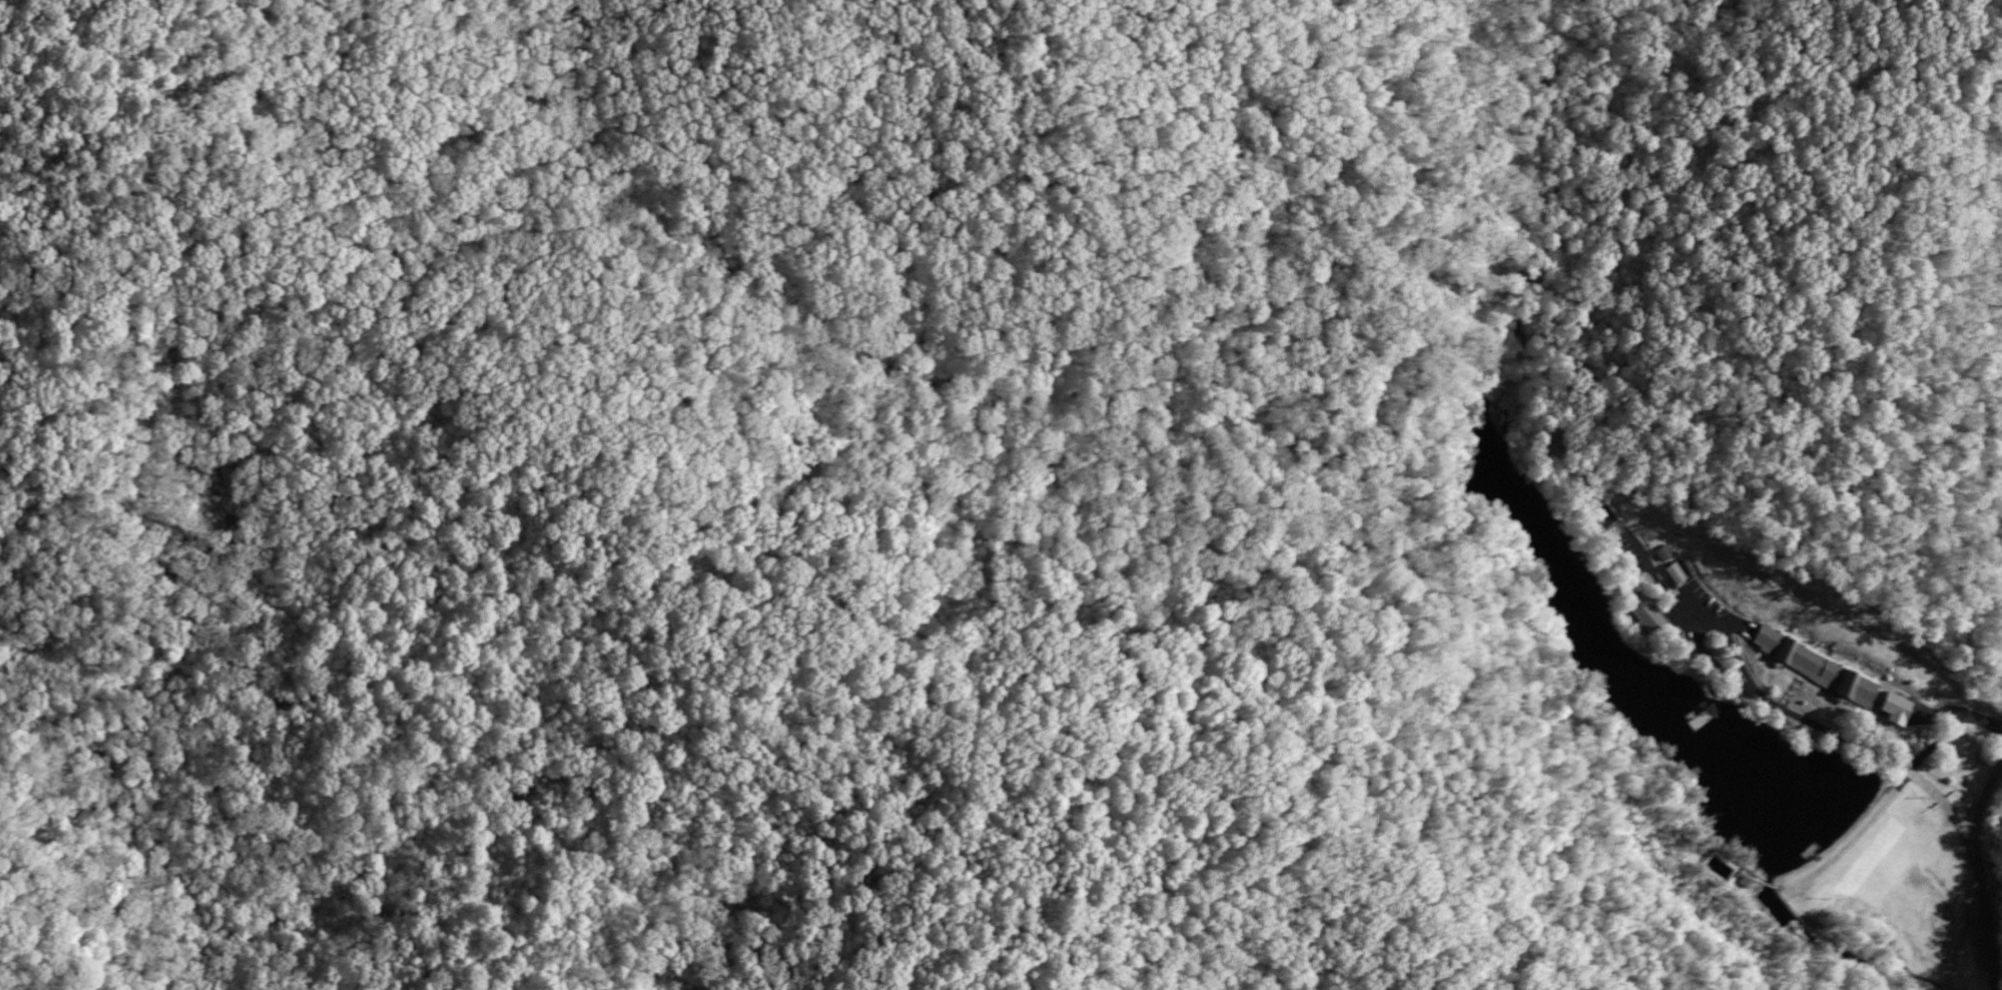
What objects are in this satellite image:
building: (1666, 554)
building: (1670, 573)
building: (1641, 613)
building: (1817, 666)
building: (1895, 705)
road: (1795, 715)
road: (1977, 873)

